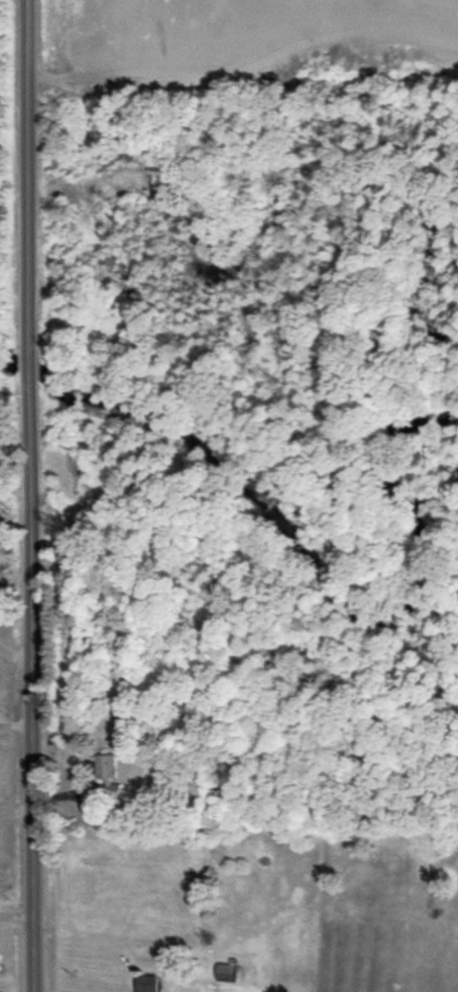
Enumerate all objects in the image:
road: (32, 495)
building: (108, 775)
building: (146, 983)

